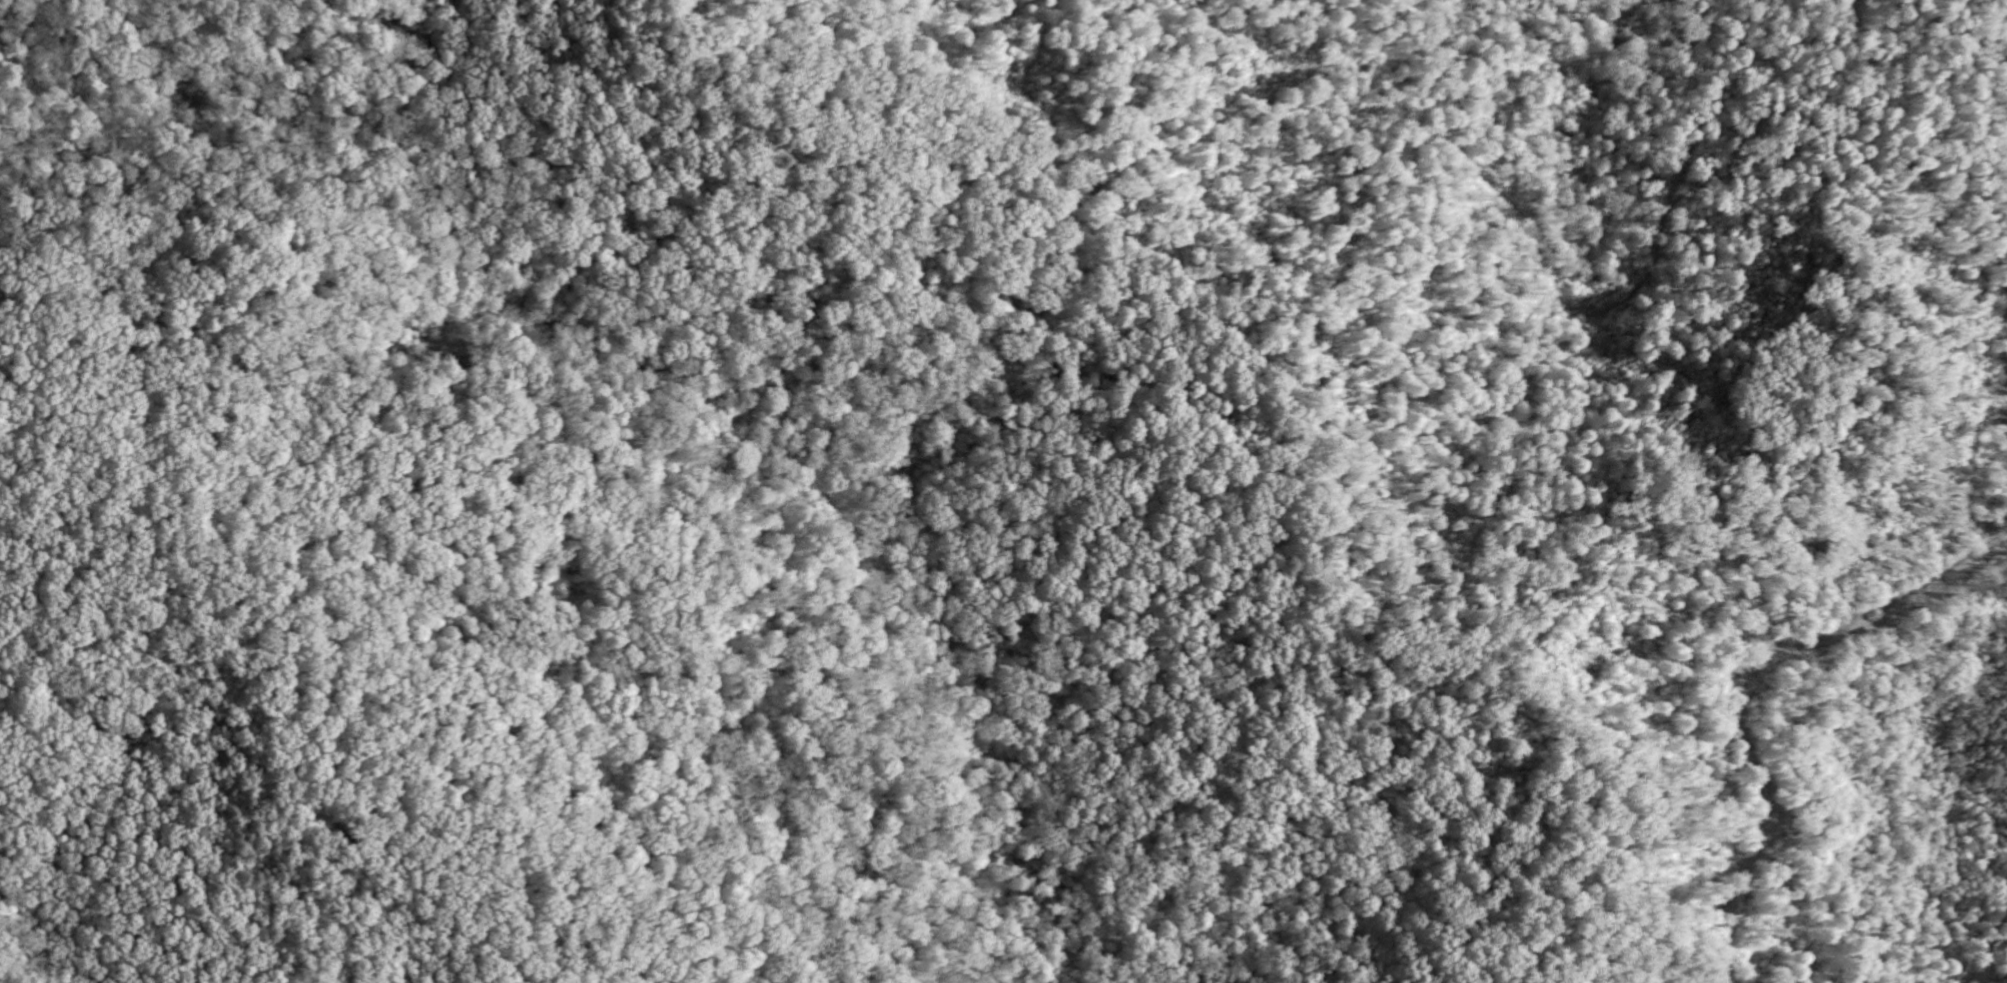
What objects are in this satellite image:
road: (1739, 688)

